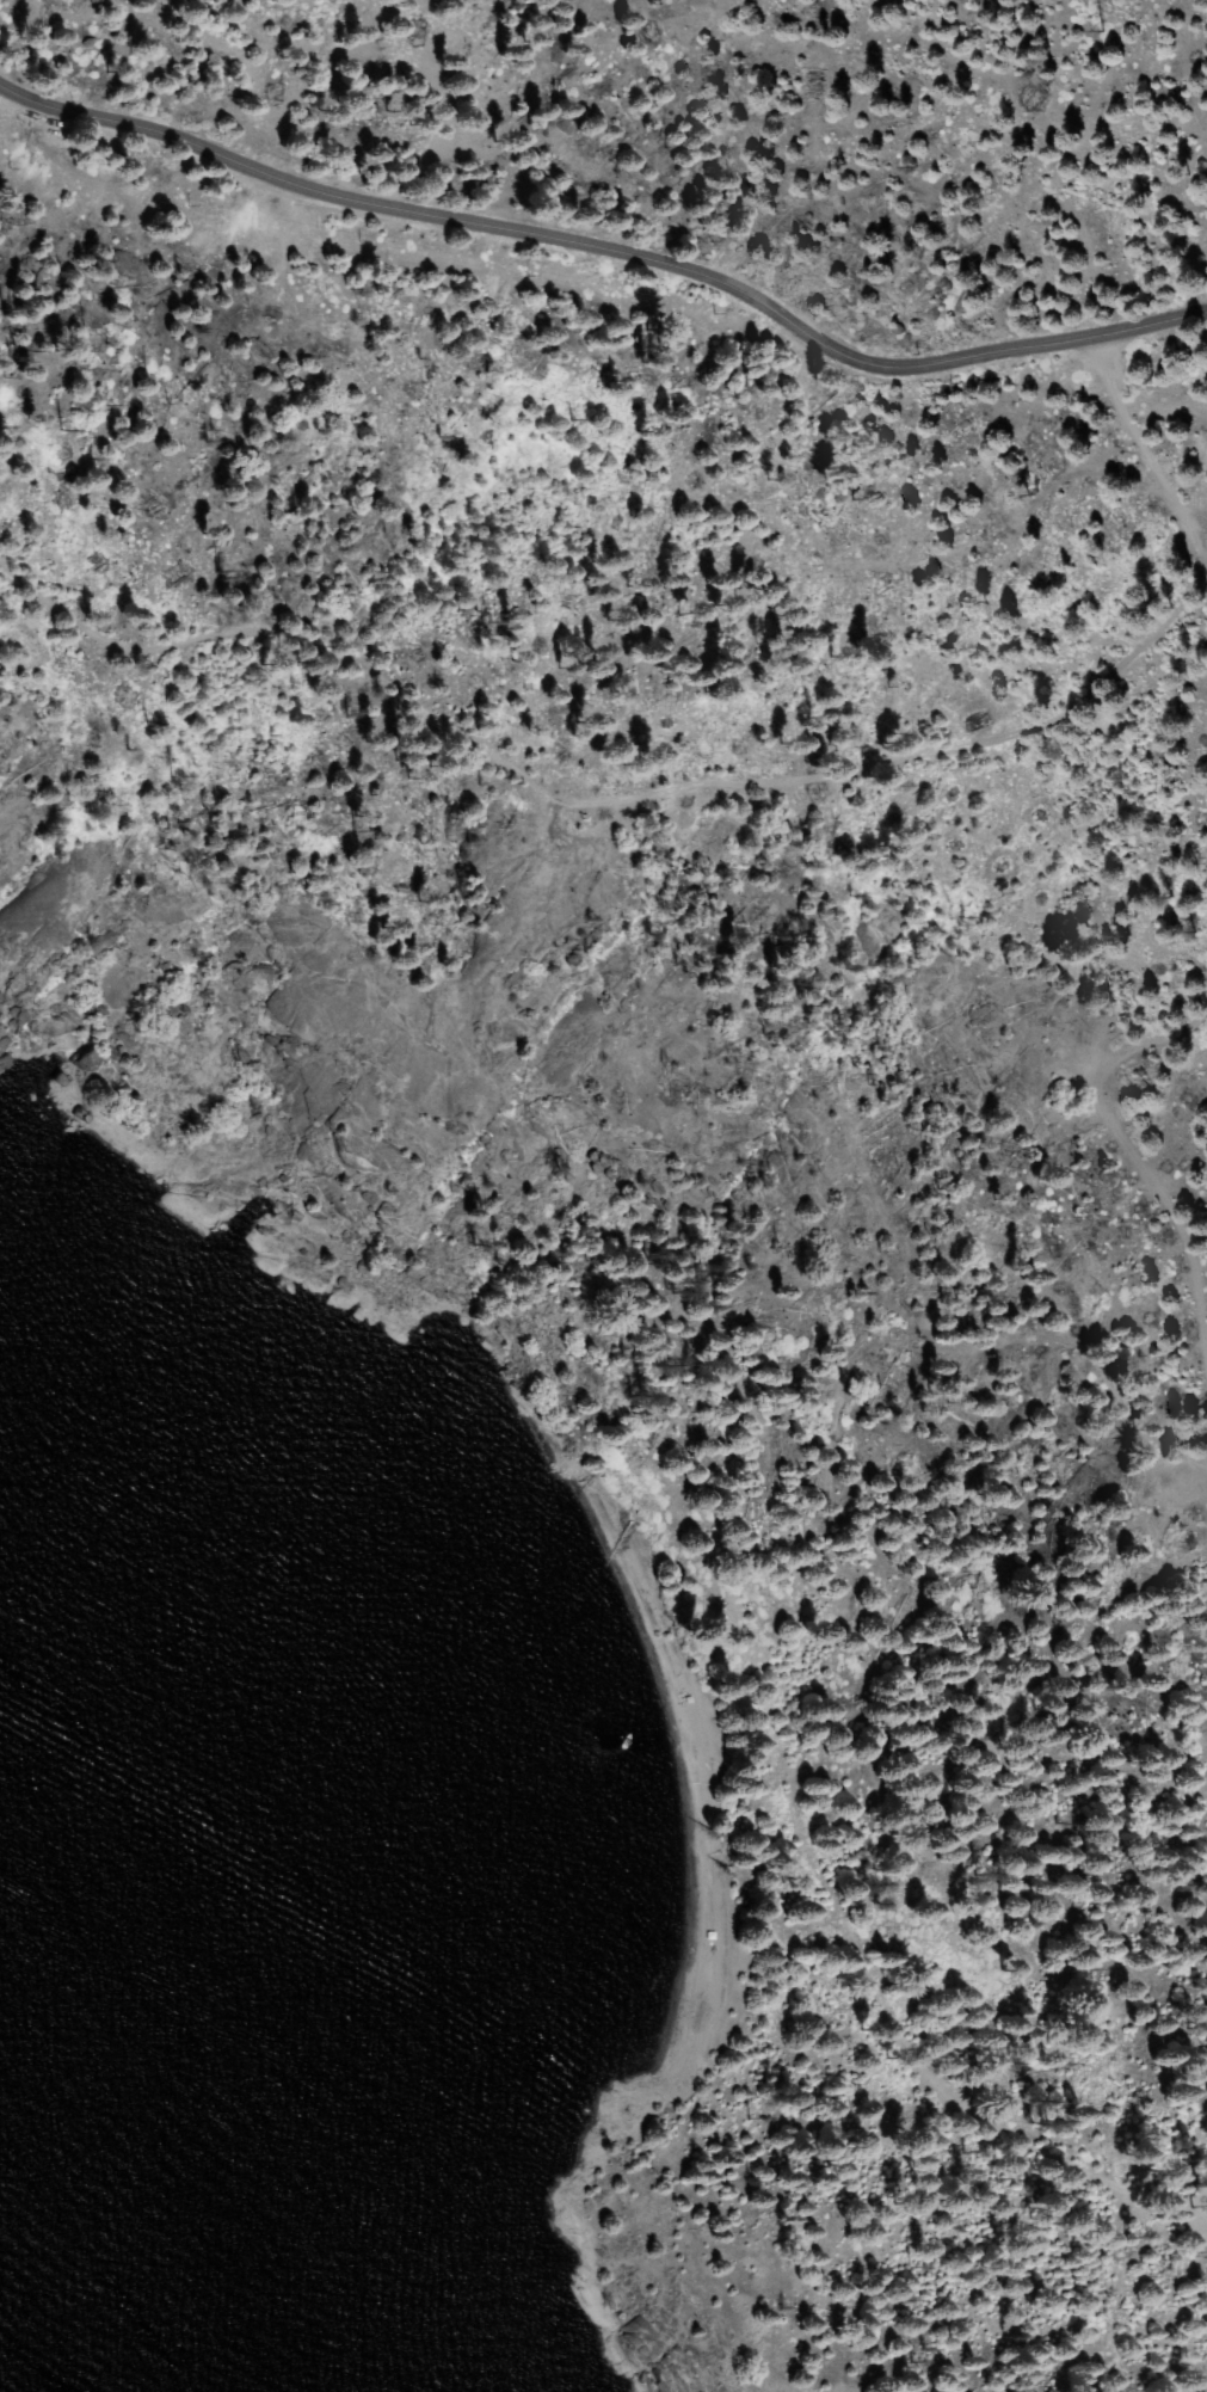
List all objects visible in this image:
road: (609, 248)
road: (1145, 459)
road: (1203, 586)
road: (593, 793)
road: (1143, 1169)
road: (1201, 2199)

